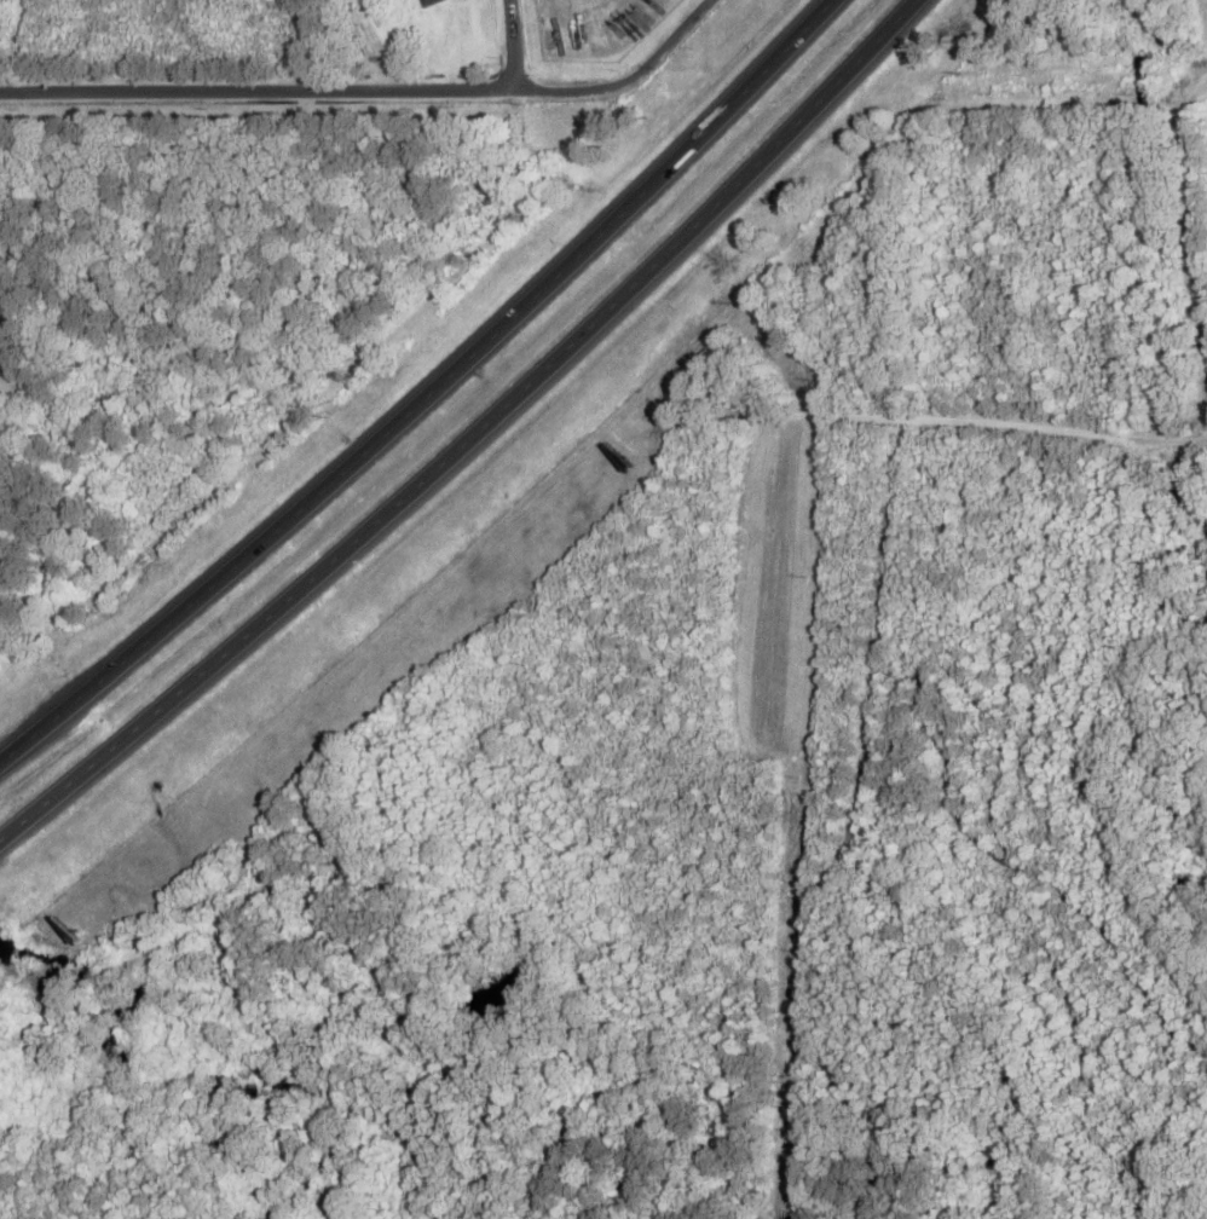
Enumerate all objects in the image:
building: (425, 1)
road: (624, 75)
road: (300, 87)
road: (428, 394)
road: (923, 415)
road: (469, 433)
river: (216, 1088)

